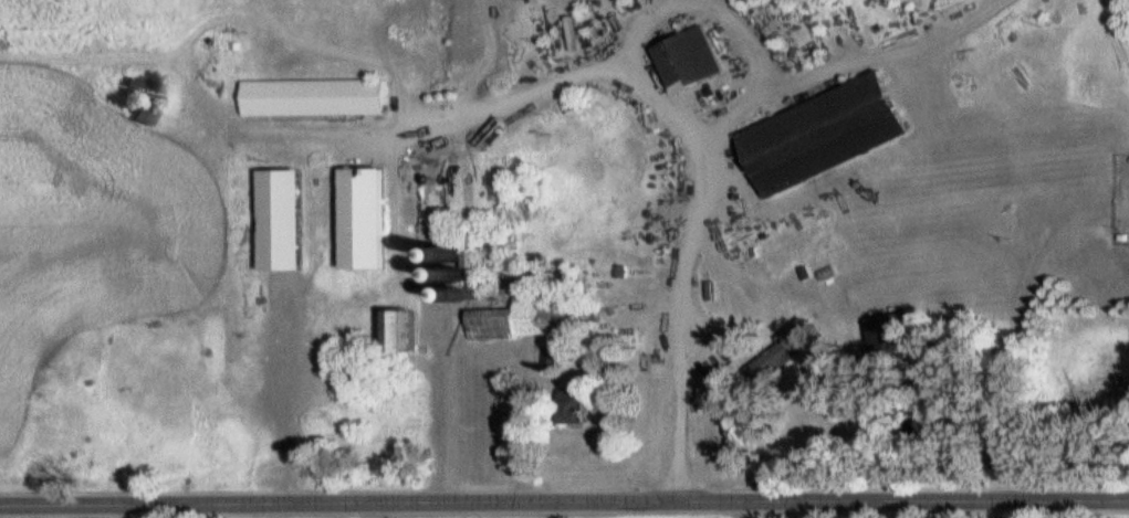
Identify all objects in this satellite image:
building: (694, 61)
building: (322, 97)
building: (147, 99)
building: (833, 134)
building: (372, 219)
building: (290, 220)
building: (535, 314)
building: (890, 324)
building: (407, 331)
building: (790, 349)
building: (551, 356)
building: (576, 406)
road: (564, 509)

